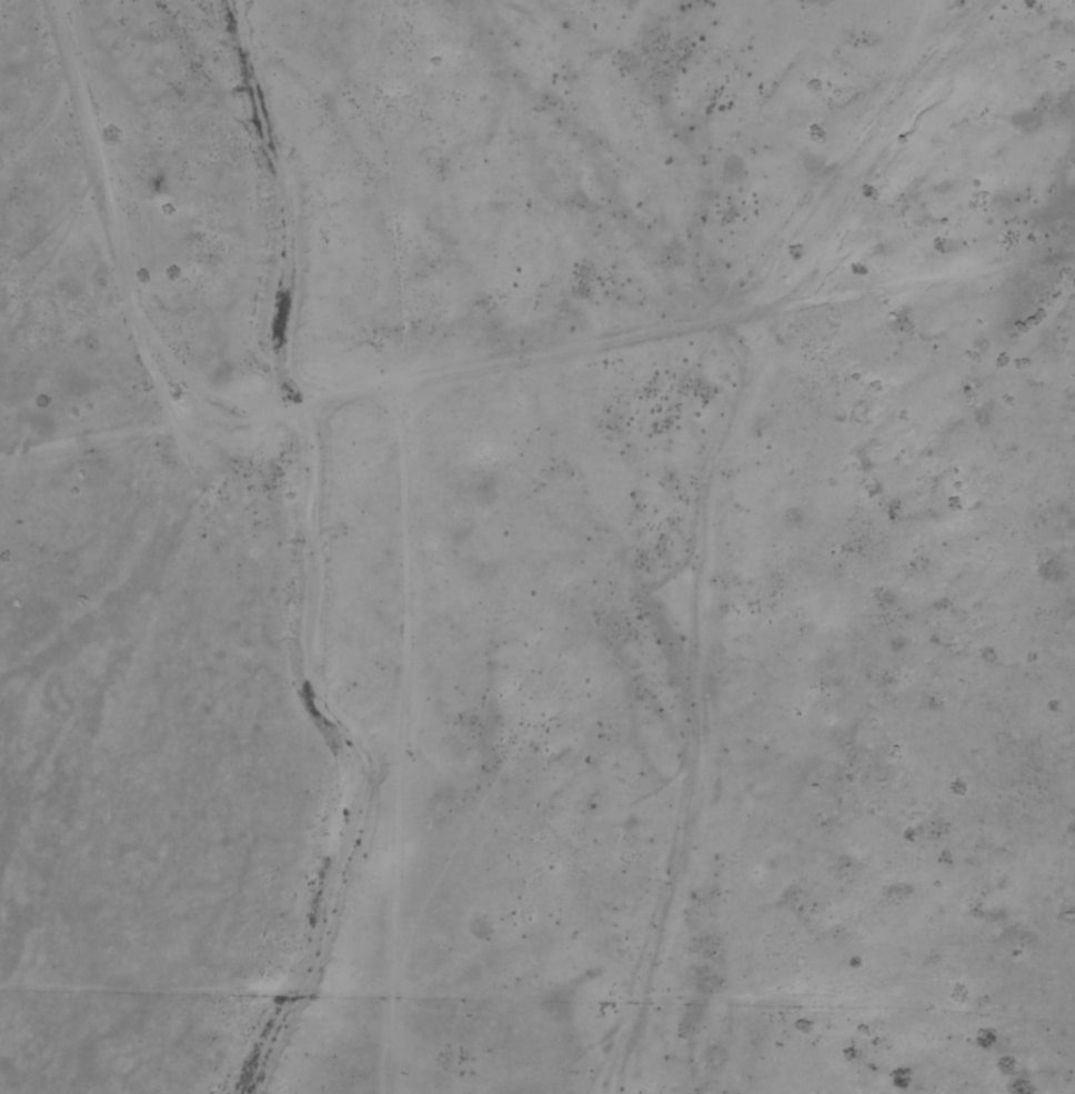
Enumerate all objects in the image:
road: (780, 525)

